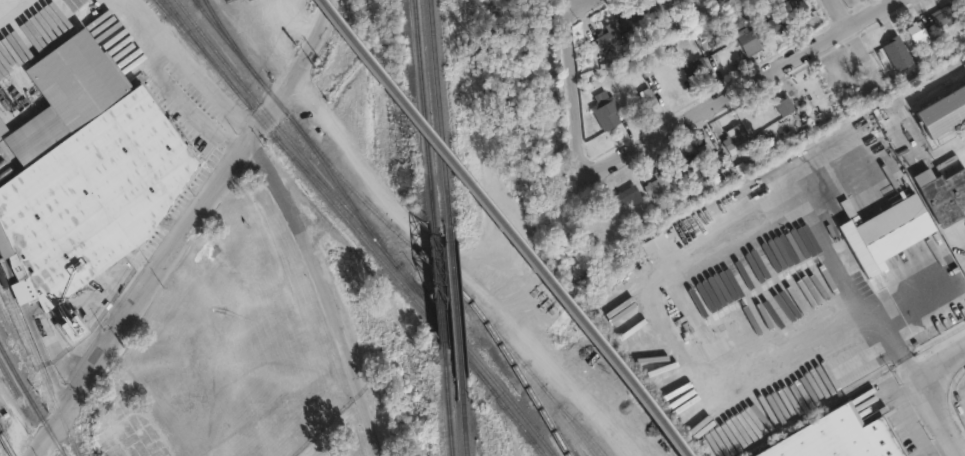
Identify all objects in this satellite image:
building: (963, 2)
road: (4, 3)
building: (657, 5)
road: (572, 6)
railway: (163, 7)
railway: (164, 7)
building: (797, 9)
railway: (186, 12)
building: (631, 14)
road: (838, 14)
building: (946, 15)
road: (146, 26)
building: (776, 26)
building: (606, 32)
building: (920, 34)
railway: (227, 35)
building: (749, 41)
railway: (197, 46)
building: (897, 51)
road: (159, 64)
building: (696, 66)
building: (624, 73)
road: (742, 88)
road: (569, 92)
building: (639, 92)
building: (784, 104)
railway: (439, 110)
railway: (423, 111)
building: (604, 111)
building: (944, 112)
building: (2, 128)
building: (735, 134)
building: (952, 148)
building: (707, 154)
railway: (324, 159)
building: (681, 162)
building: (91, 174)
railway: (313, 175)
building: (655, 178)
building: (700, 184)
railway: (340, 192)
building: (628, 192)
building: (905, 214)
railway: (507, 227)
road: (185, 228)
railway: (353, 229)
railway: (375, 240)
road: (324, 291)
railway: (454, 309)
railway: (439, 311)
road: (863, 321)
railway: (460, 347)
railway: (38, 366)
railway: (535, 377)
railway: (522, 379)
road: (939, 399)
railway: (31, 402)
road: (894, 408)
railway: (26, 410)
railway: (578, 425)
railway: (463, 427)
railway: (449, 428)
railway: (551, 430)
building: (840, 438)
railway: (6, 444)

